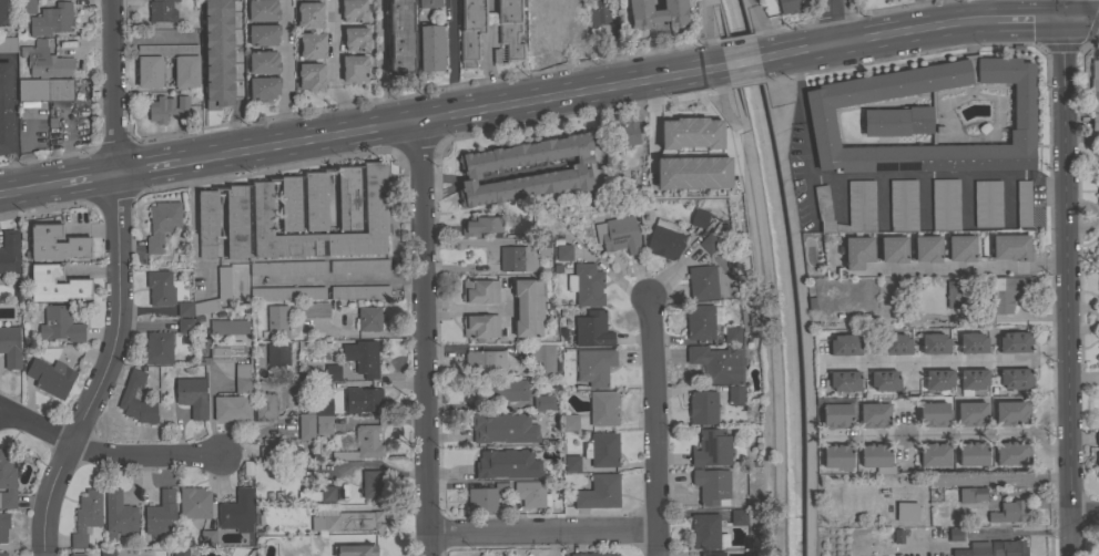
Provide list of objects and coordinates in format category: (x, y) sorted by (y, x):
building: (429, 3)
building: (788, 6)
building: (28, 7)
building: (263, 10)
building: (354, 10)
road: (1088, 10)
building: (162, 11)
building: (7, 12)
building: (655, 13)
building: (309, 14)
building: (600, 14)
road: (917, 17)
building: (52, 18)
road: (716, 18)
road: (705, 19)
traffic signals: (1065, 21)
road: (1077, 21)
road: (1093, 21)
road: (1030, 22)
road: (831, 23)
building: (572, 25)
building: (510, 29)
building: (539, 30)
building: (470, 31)
building: (264, 34)
building: (399, 35)
building: (356, 39)
road: (884, 39)
road: (152, 40)
building: (8, 44)
building: (313, 45)
building: (332, 47)
building: (430, 47)
building: (217, 53)
road: (450, 59)
building: (43, 61)
building: (263, 62)
road: (743, 62)
building: (354, 69)
road: (332, 70)
building: (150, 73)
road: (285, 73)
building: (1095, 74)
building: (311, 76)
building: (263, 86)
building: (52, 91)
road: (718, 100)
building: (1093, 100)
building: (182, 102)
building: (6, 109)
building: (161, 109)
road: (13, 119)
building: (821, 119)
road: (446, 120)
building: (1095, 120)
building: (895, 121)
road: (651, 125)
building: (691, 132)
building: (624, 135)
road: (804, 138)
building: (1098, 152)
building: (572, 169)
road: (146, 172)
building: (692, 172)
road: (87, 182)
building: (614, 183)
road: (29, 191)
building: (1098, 195)
building: (348, 197)
building: (316, 200)
building: (291, 203)
building: (1021, 203)
building: (986, 204)
building: (902, 205)
building: (944, 205)
building: (375, 206)
building: (621, 206)
building: (846, 208)
road: (1097, 213)
road: (1098, 213)
building: (699, 217)
road: (193, 222)
building: (207, 222)
building: (236, 222)
building: (162, 224)
building: (481, 226)
building: (615, 235)
building: (664, 239)
building: (1097, 240)
building: (57, 243)
building: (709, 243)
building: (541, 246)
building: (1010, 247)
building: (925, 248)
building: (959, 248)
building: (892, 249)
building: (9, 251)
building: (562, 251)
building: (856, 253)
building: (516, 258)
building: (359, 266)
road: (1069, 267)
building: (287, 268)
road: (968, 268)
road: (345, 279)
building: (221, 282)
building: (705, 282)
building: (57, 284)
building: (586, 284)
road: (115, 285)
building: (159, 288)
building: (17, 290)
building: (359, 291)
building: (479, 291)
building: (287, 292)
building: (1005, 292)
building: (1097, 292)
building: (954, 294)
road: (502, 300)
building: (184, 308)
road: (465, 308)
building: (527, 308)
building: (314, 310)
road: (1085, 317)
building: (369, 318)
road: (763, 319)
building: (277, 321)
building: (700, 321)
building: (60, 323)
building: (185, 325)
building: (480, 326)
building: (227, 327)
building: (592, 329)
building: (732, 334)
road: (427, 340)
building: (1015, 341)
building: (935, 342)
building: (973, 342)
building: (896, 343)
building: (1097, 343)
building: (844, 344)
building: (10, 347)
building: (157, 348)
building: (226, 351)
building: (277, 353)
building: (363, 357)
building: (543, 358)
road: (947, 360)
building: (484, 363)
building: (718, 363)
building: (594, 365)
building: (241, 371)
building: (332, 371)
building: (51, 377)
building: (1015, 378)
building: (938, 379)
building: (844, 380)
building: (884, 380)
building: (970, 380)
building: (241, 385)
building: (323, 388)
building: (503, 390)
building: (735, 393)
building: (192, 395)
building: (363, 399)
building: (136, 400)
building: (545, 402)
building: (265, 405)
building: (232, 406)
building: (322, 406)
building: (702, 406)
building: (601, 409)
road: (210, 411)
building: (1011, 412)
building: (971, 413)
building: (933, 414)
building: (835, 415)
building: (874, 415)
building: (1098, 416)
building: (569, 423)
building: (323, 424)
road: (34, 426)
building: (306, 426)
road: (651, 426)
building: (503, 428)
road: (1035, 433)
road: (926, 434)
building: (1097, 437)
building: (363, 444)
building: (274, 447)
building: (711, 447)
building: (602, 449)
building: (970, 453)
building: (1010, 453)
building: (933, 454)
road: (142, 455)
building: (836, 455)
building: (873, 455)
building: (507, 463)
building: (571, 463)
building: (1097, 463)
road: (1003, 476)
building: (7, 482)
building: (373, 484)
building: (712, 486)
building: (599, 492)
building: (325, 493)
building: (532, 493)
building: (971, 494)
building: (481, 500)
building: (194, 503)
building: (237, 511)
building: (906, 511)
building: (161, 512)
building: (1009, 512)
road: (1086, 513)
building: (119, 515)
building: (87, 516)
building: (737, 516)
building: (347, 521)
building: (2, 526)
building: (704, 531)
road: (541, 534)
building: (955, 534)
road: (1073, 535)
building: (895, 536)
building: (207, 537)
building: (979, 548)
building: (1010, 548)
building: (354, 549)
building: (106, 552)
building: (180, 552)
building: (3, 554)
building: (590, 554)
building: (711, 554)
building: (77, 555)

